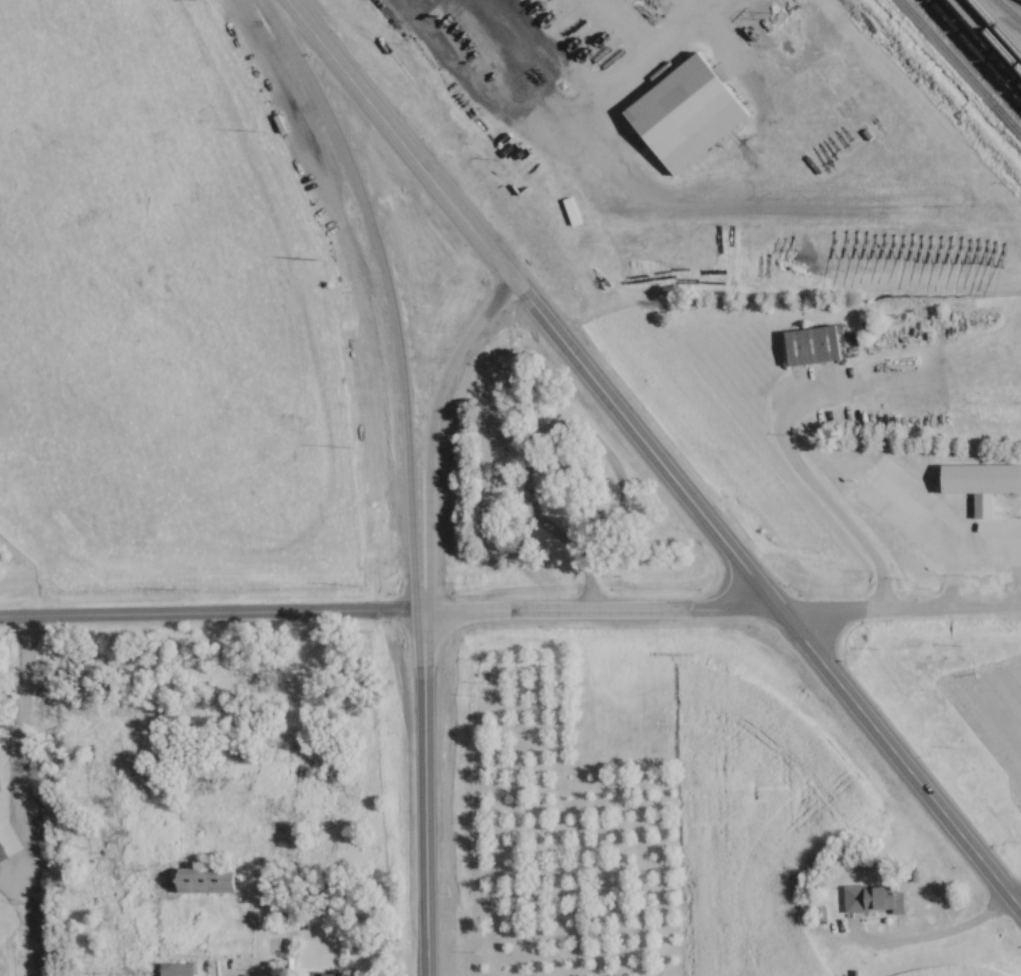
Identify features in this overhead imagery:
power tower: (780, 16)
railway: (985, 44)
road: (551, 73)
road: (391, 144)
road: (383, 296)
building: (814, 345)
road: (425, 439)
building: (981, 483)
road: (810, 489)
park: (550, 493)
road: (984, 538)
road: (771, 598)
road: (901, 609)
road: (600, 613)
road: (209, 618)
road: (422, 796)
building: (208, 882)
building: (873, 901)
building: (820, 916)
road: (937, 938)
building: (178, 969)
building: (327, 974)

